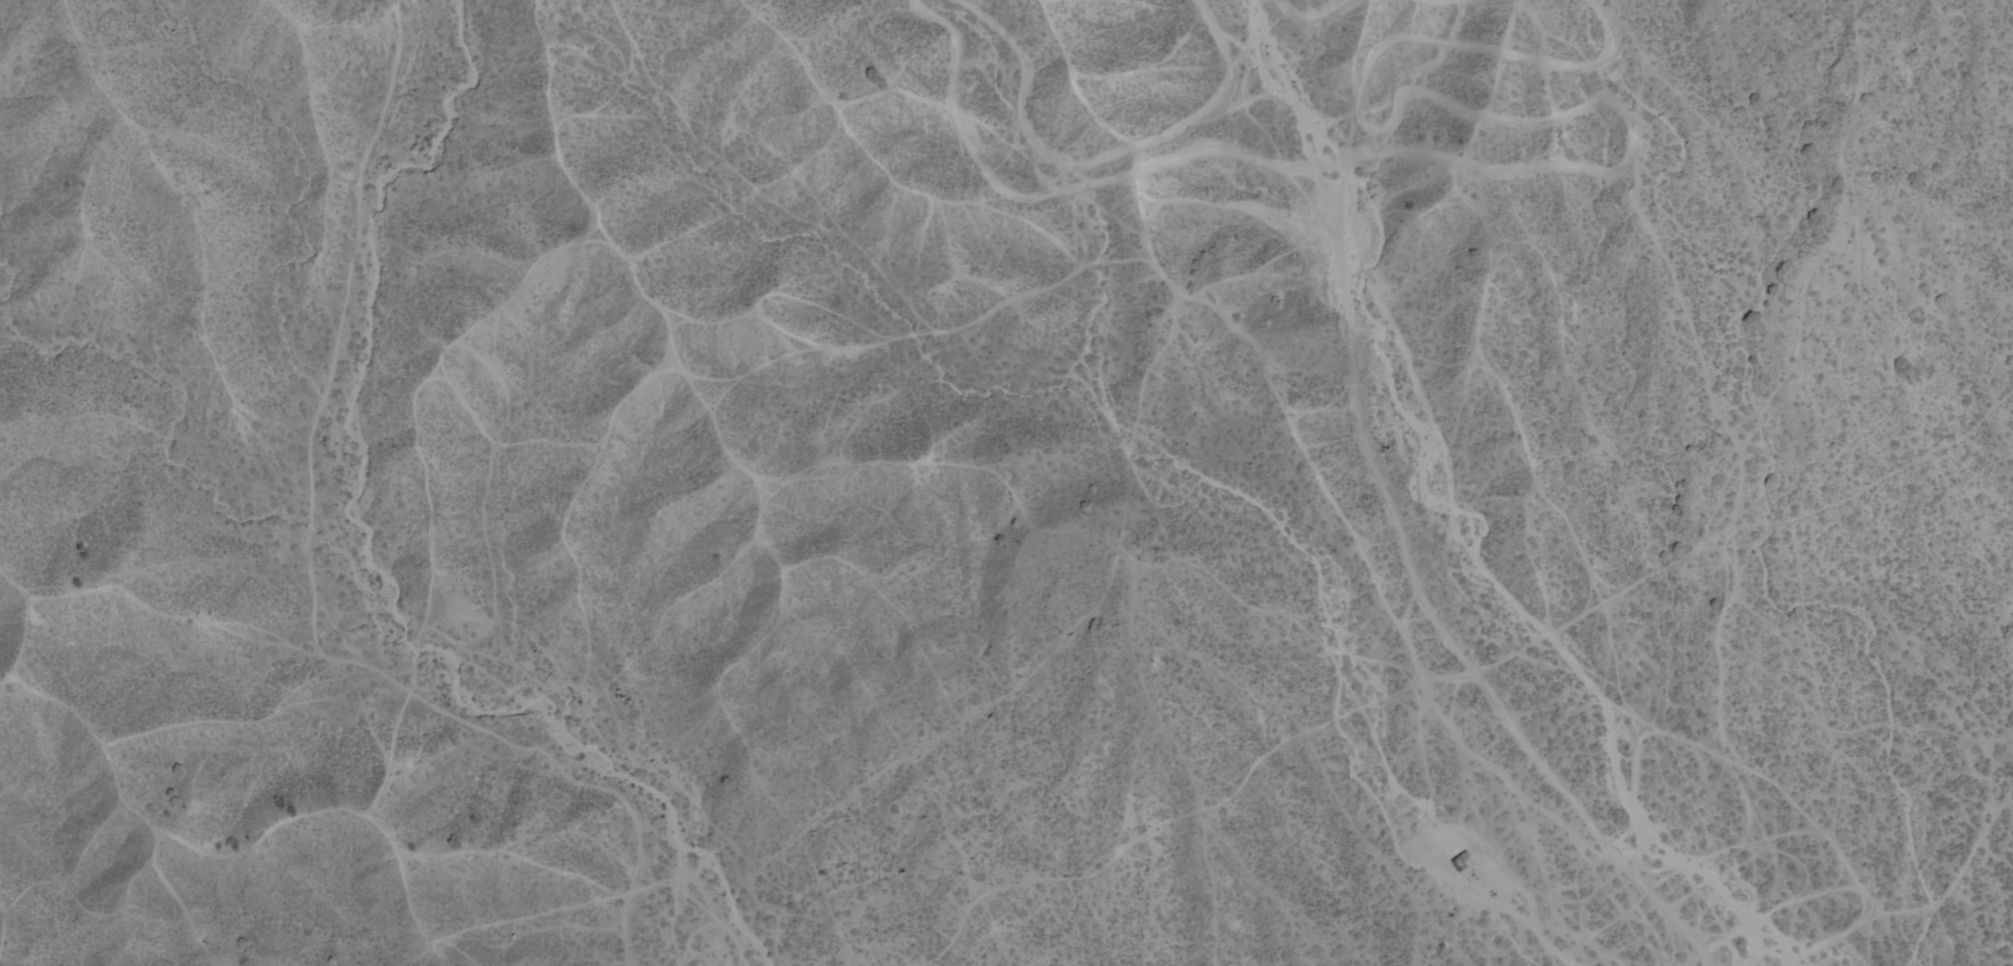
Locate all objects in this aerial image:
road: (313, 563)

